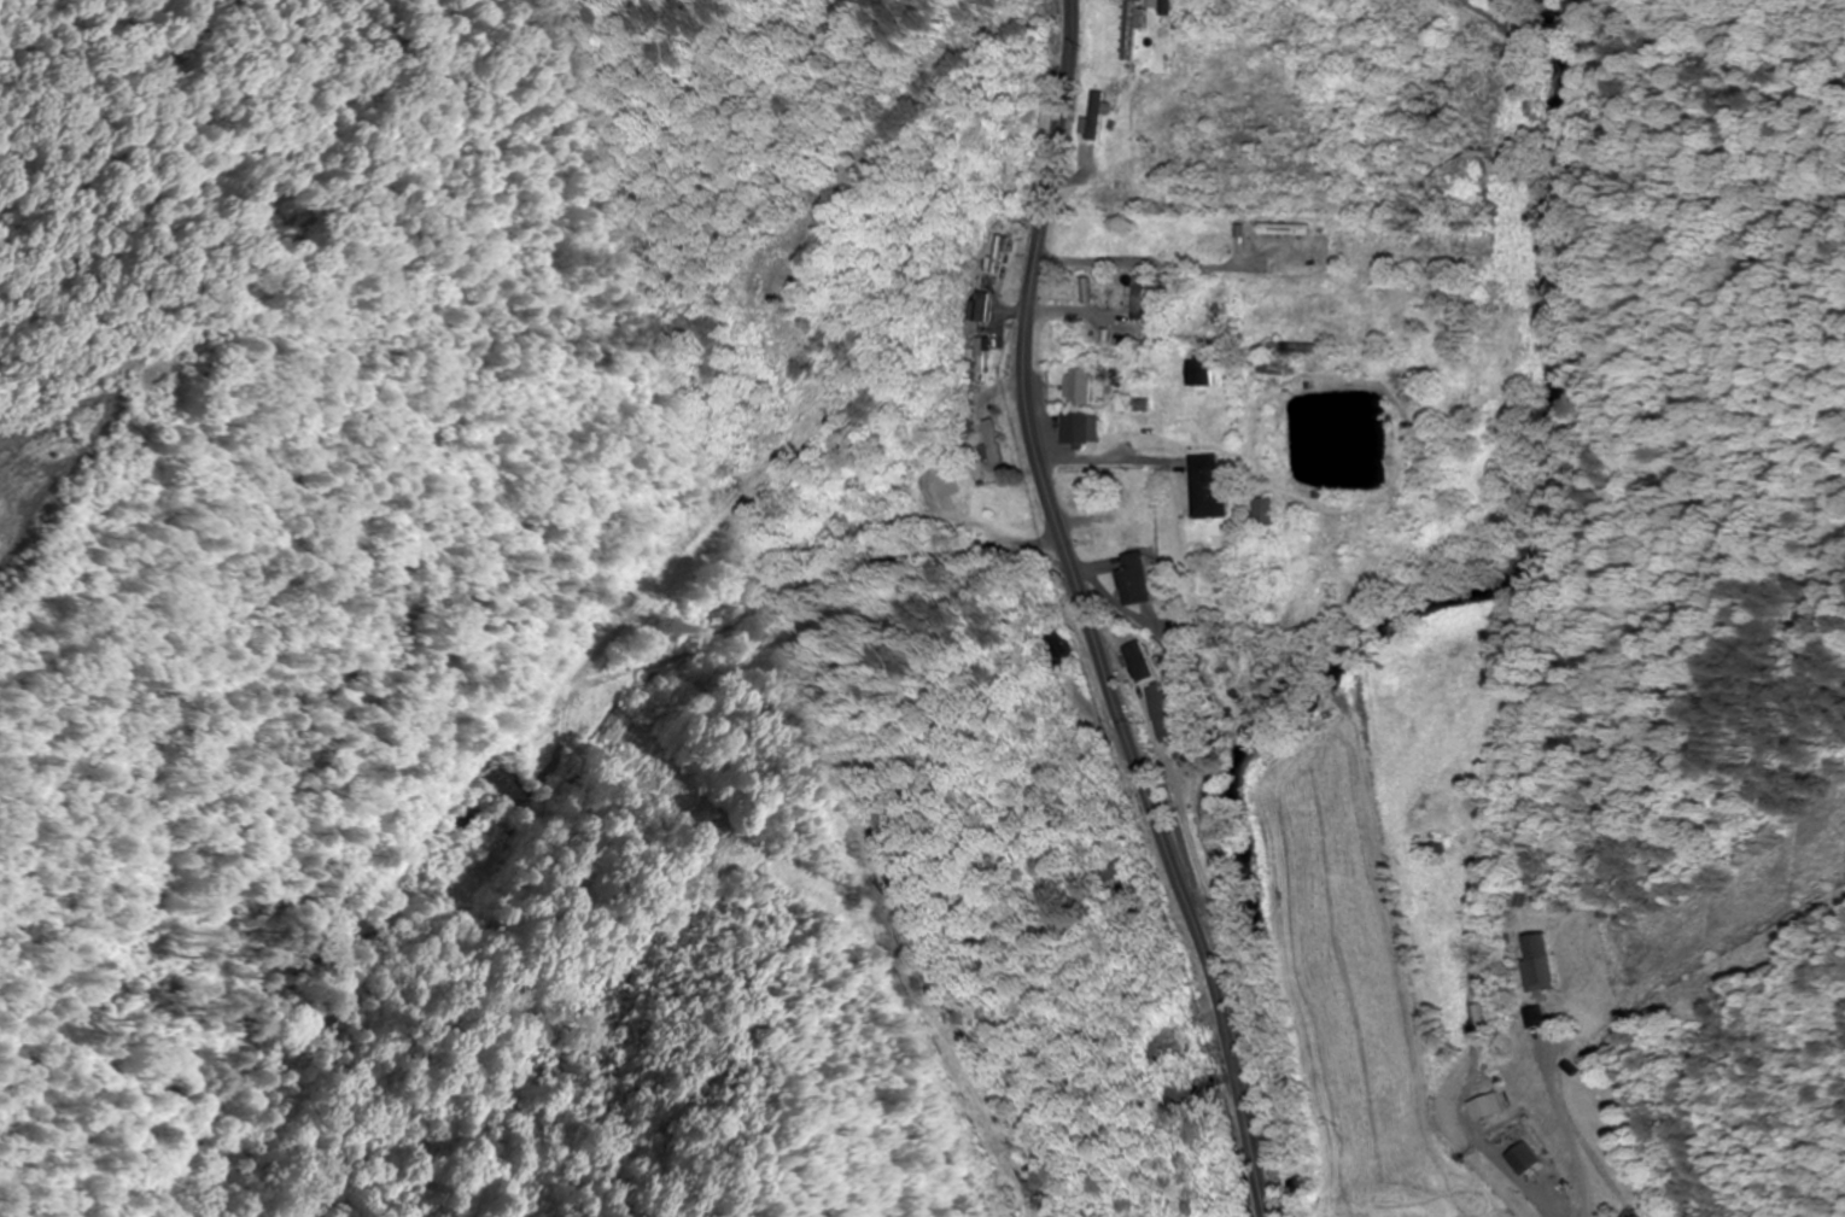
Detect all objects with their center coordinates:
building: (1167, 6)
building: (1131, 29)
building: (1093, 119)
building: (1111, 197)
building: (1000, 256)
building: (1107, 296)
building: (1215, 304)
building: (1291, 347)
building: (1086, 353)
building: (980, 359)
building: (1280, 367)
building: (1198, 370)
building: (1078, 386)
building: (1075, 427)
building: (998, 446)
building: (1207, 486)
building: (1137, 490)
building: (898, 498)
building: (1262, 510)
road: (869, 560)
building: (1132, 579)
road: (1085, 615)
building: (1056, 646)
building: (1137, 661)
building: (507, 784)
building: (1113, 878)
building: (1545, 963)
road: (1573, 1134)

